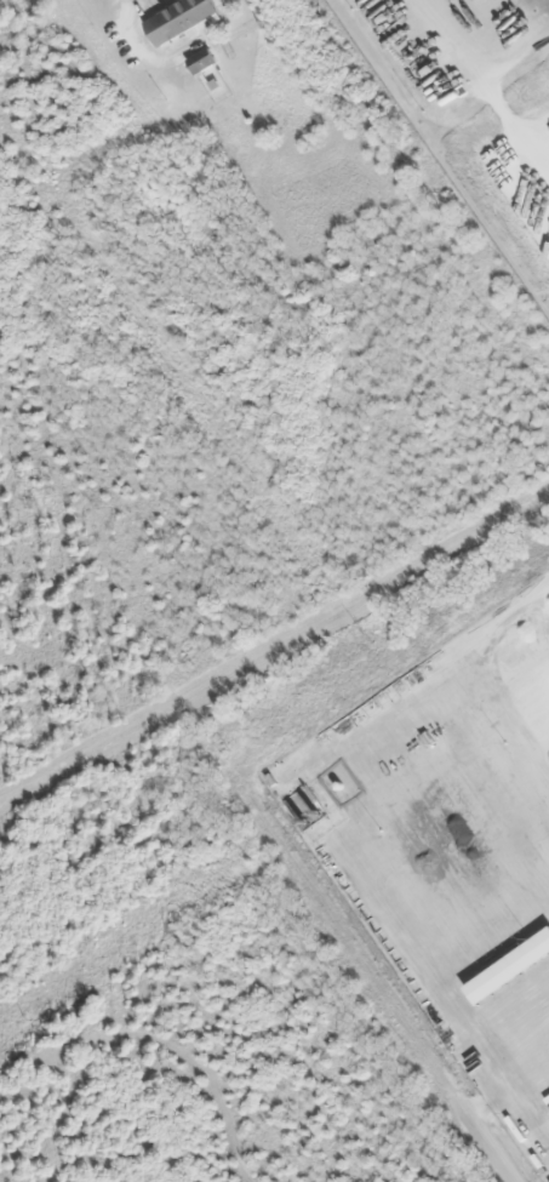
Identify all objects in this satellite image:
building: (183, 21)
building: (204, 61)
building: (513, 967)
road: (493, 1143)

